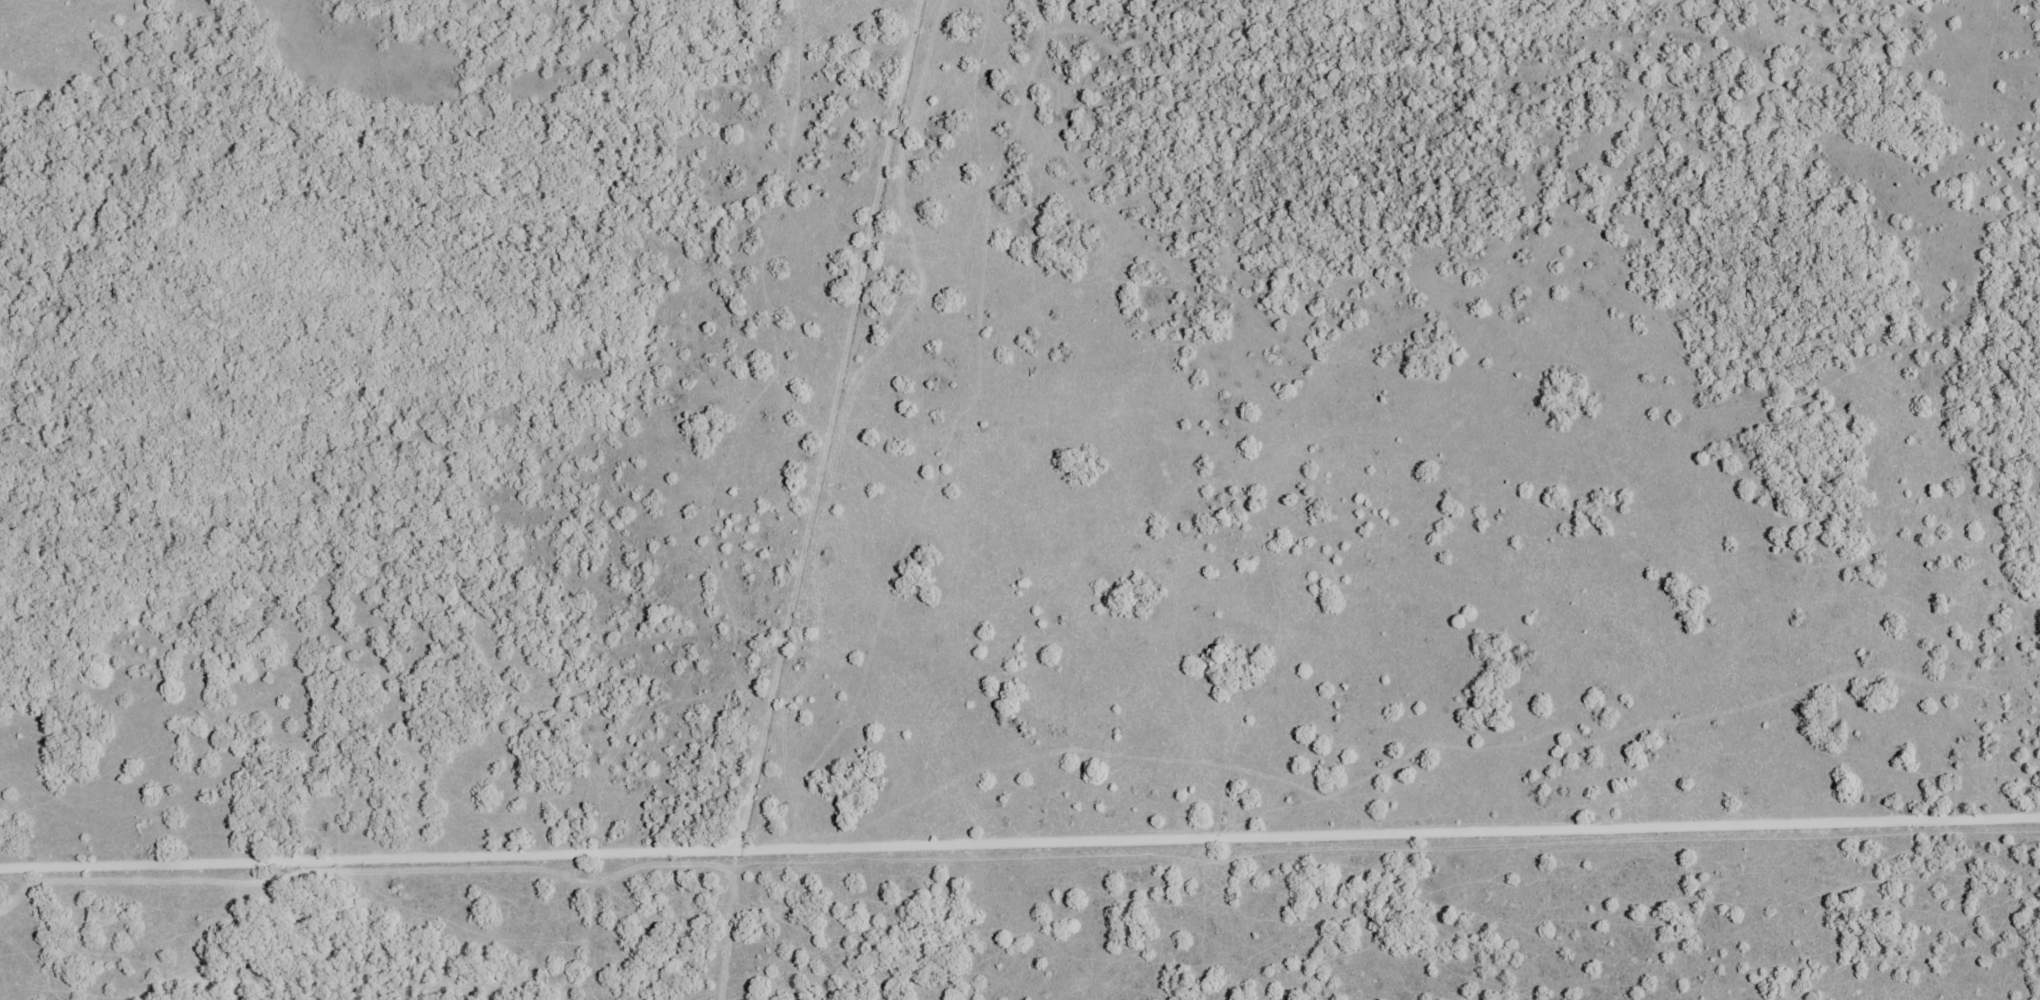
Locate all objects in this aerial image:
road: (884, 223)
road: (816, 491)
road: (293, 843)

